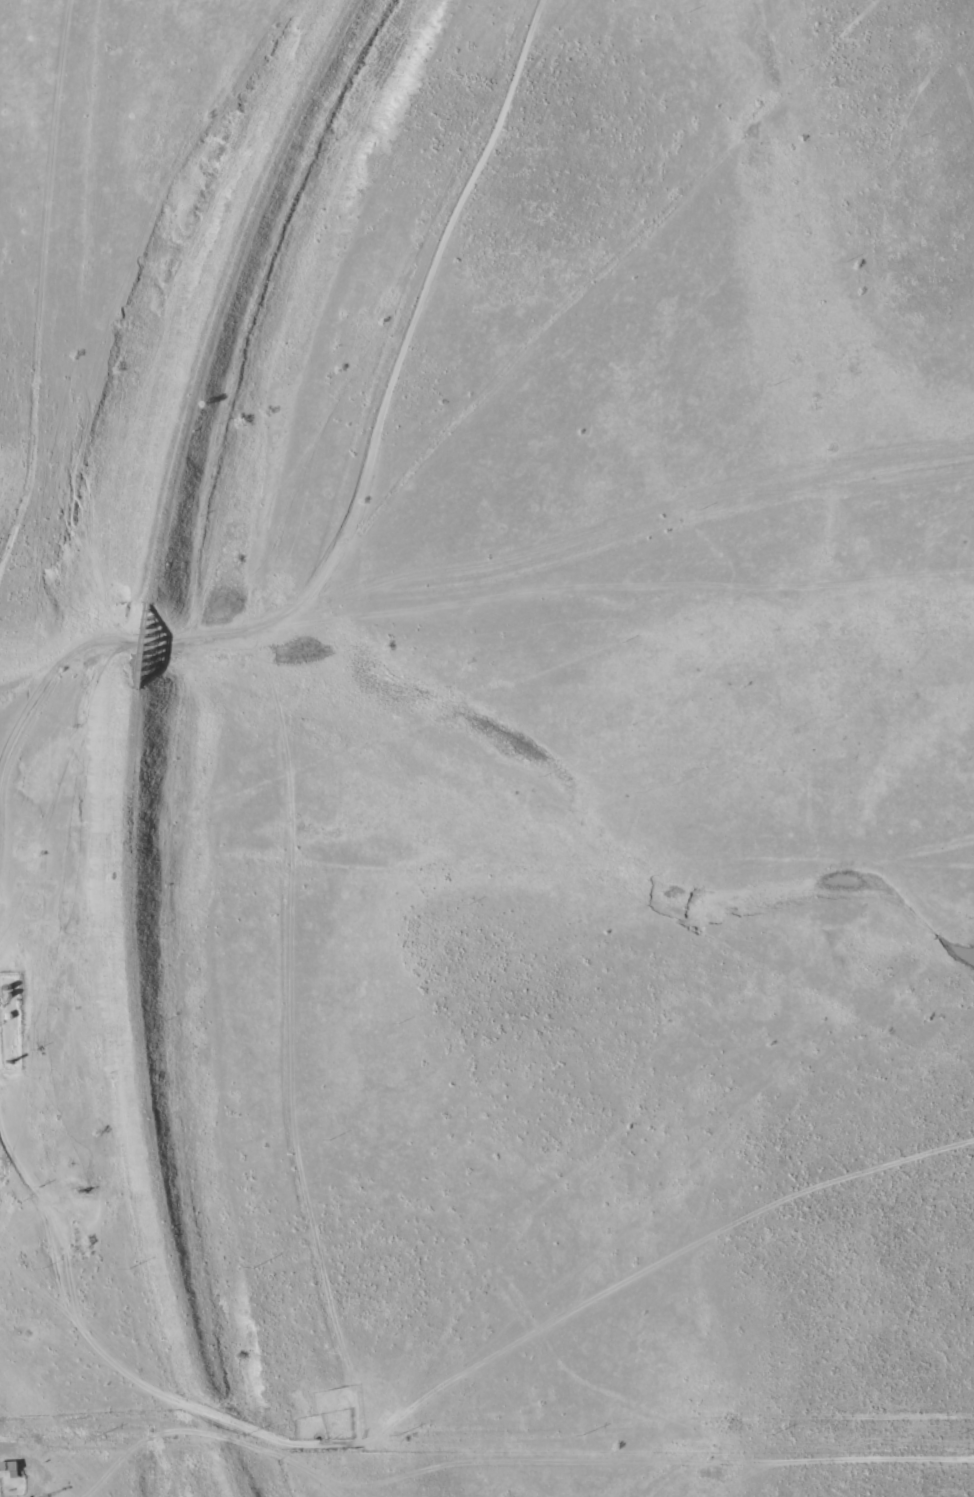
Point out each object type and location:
railway: (156, 729)

